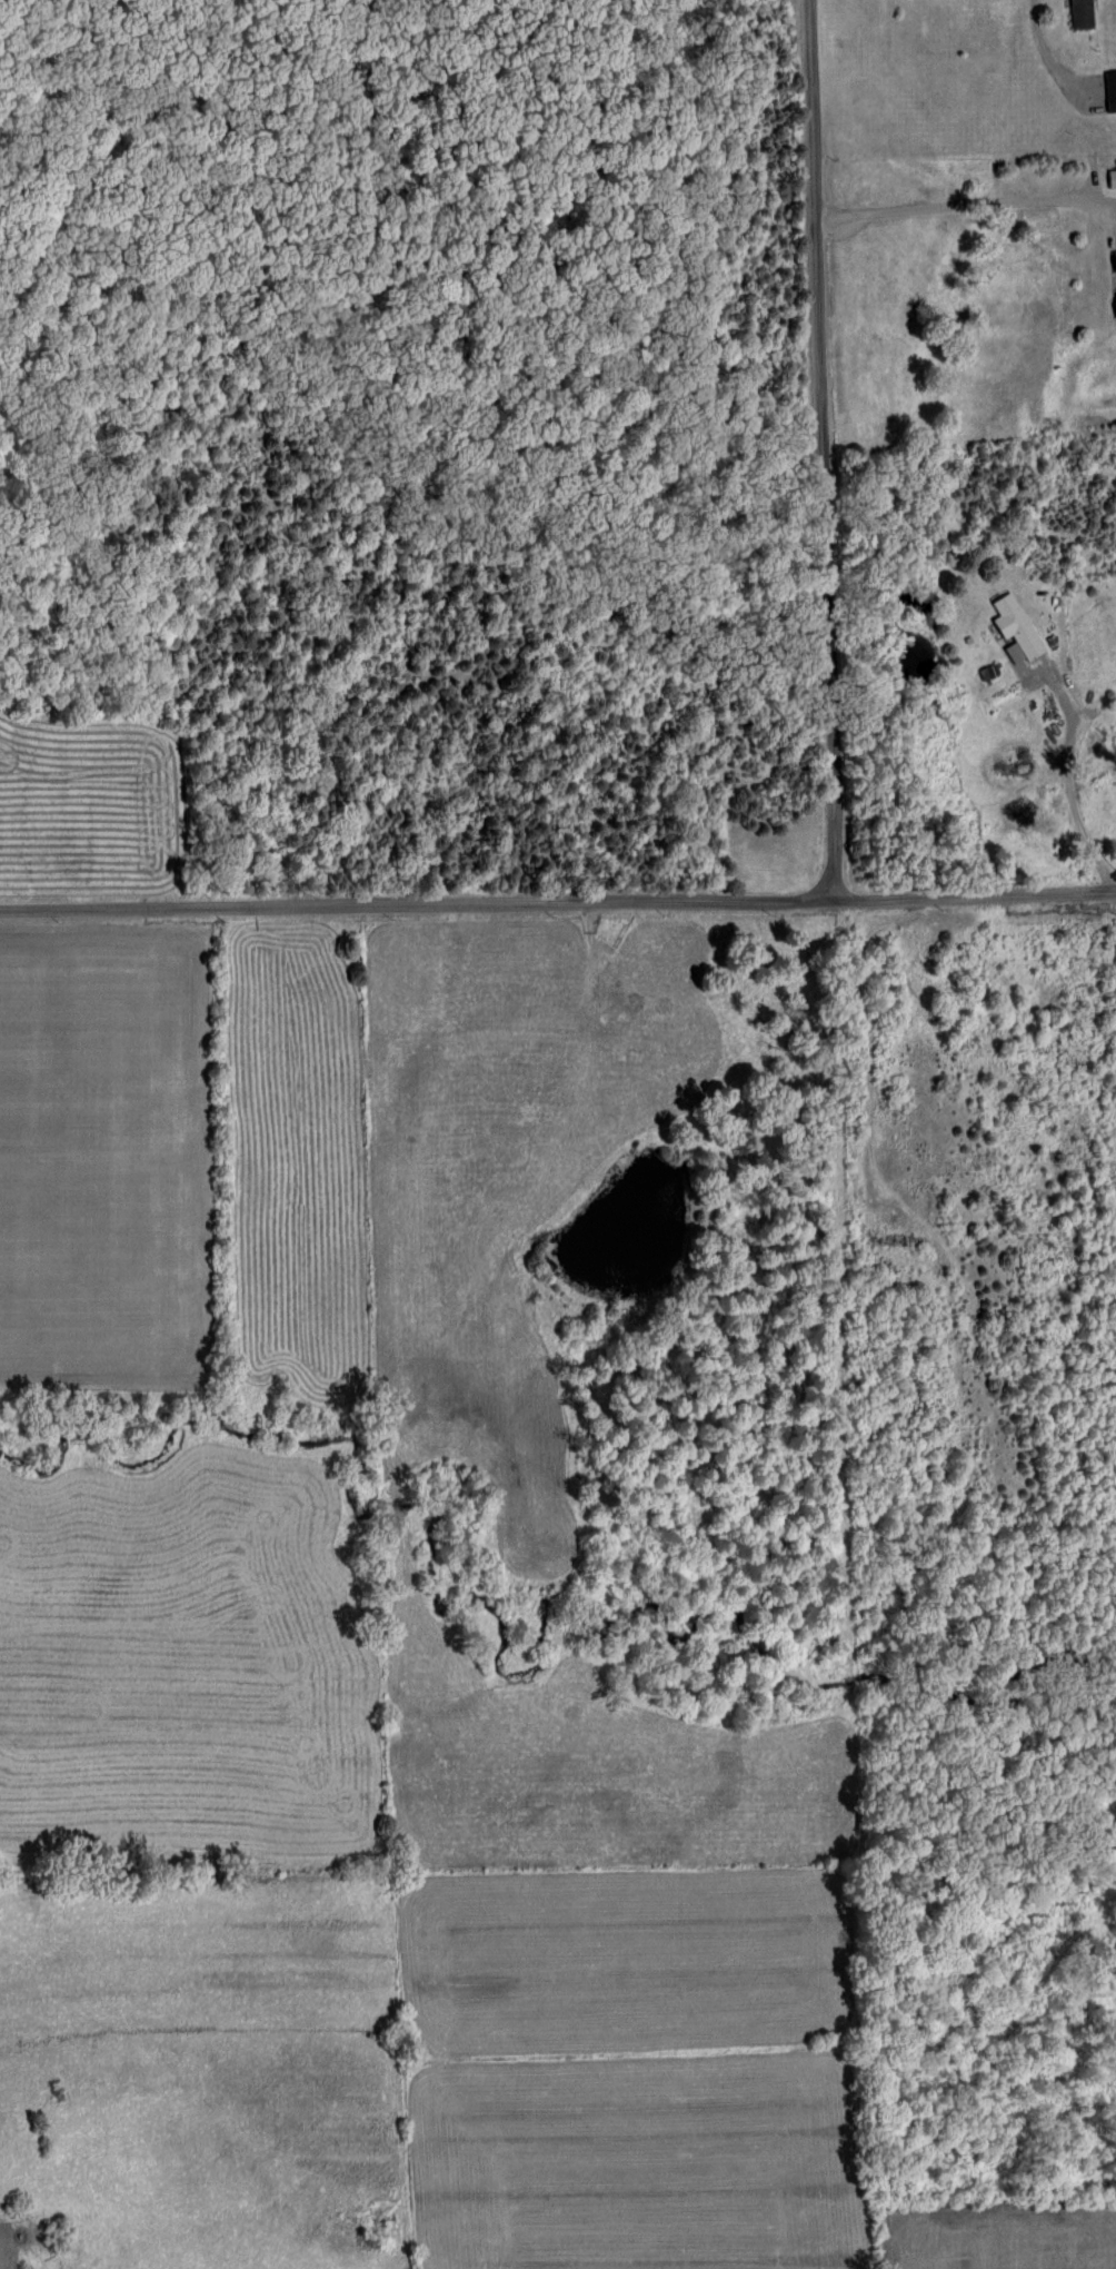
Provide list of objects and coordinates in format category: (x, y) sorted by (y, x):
building: (1078, 14)
road: (1039, 52)
building: (1109, 91)
building: (1110, 179)
road: (959, 204)
building: (1114, 262)
building: (1114, 303)
road: (813, 455)
building: (1015, 626)
road: (1076, 772)
road: (1012, 893)
road: (454, 909)
road: (858, 1040)
building: (888, 1240)

